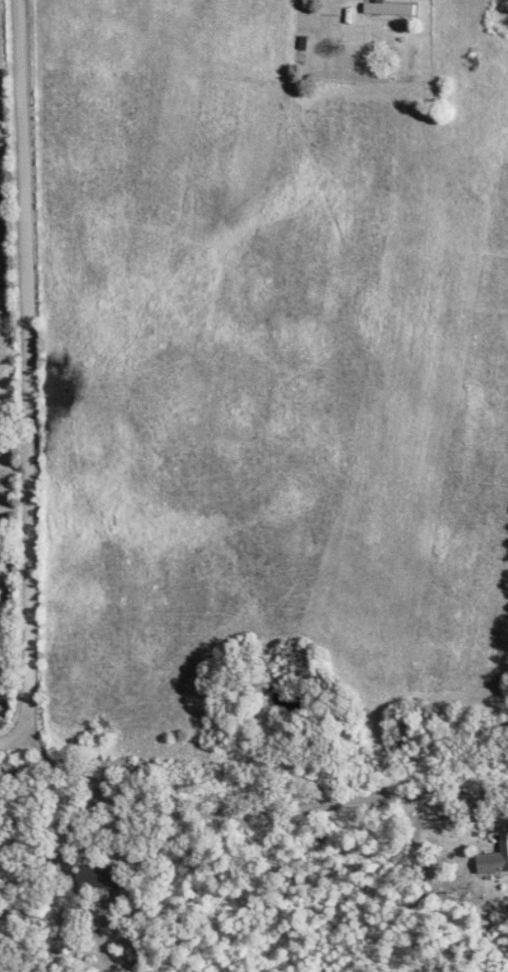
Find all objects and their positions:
building: (394, 9)
road: (38, 388)
road: (182, 721)
building: (496, 860)
building: (109, 878)

